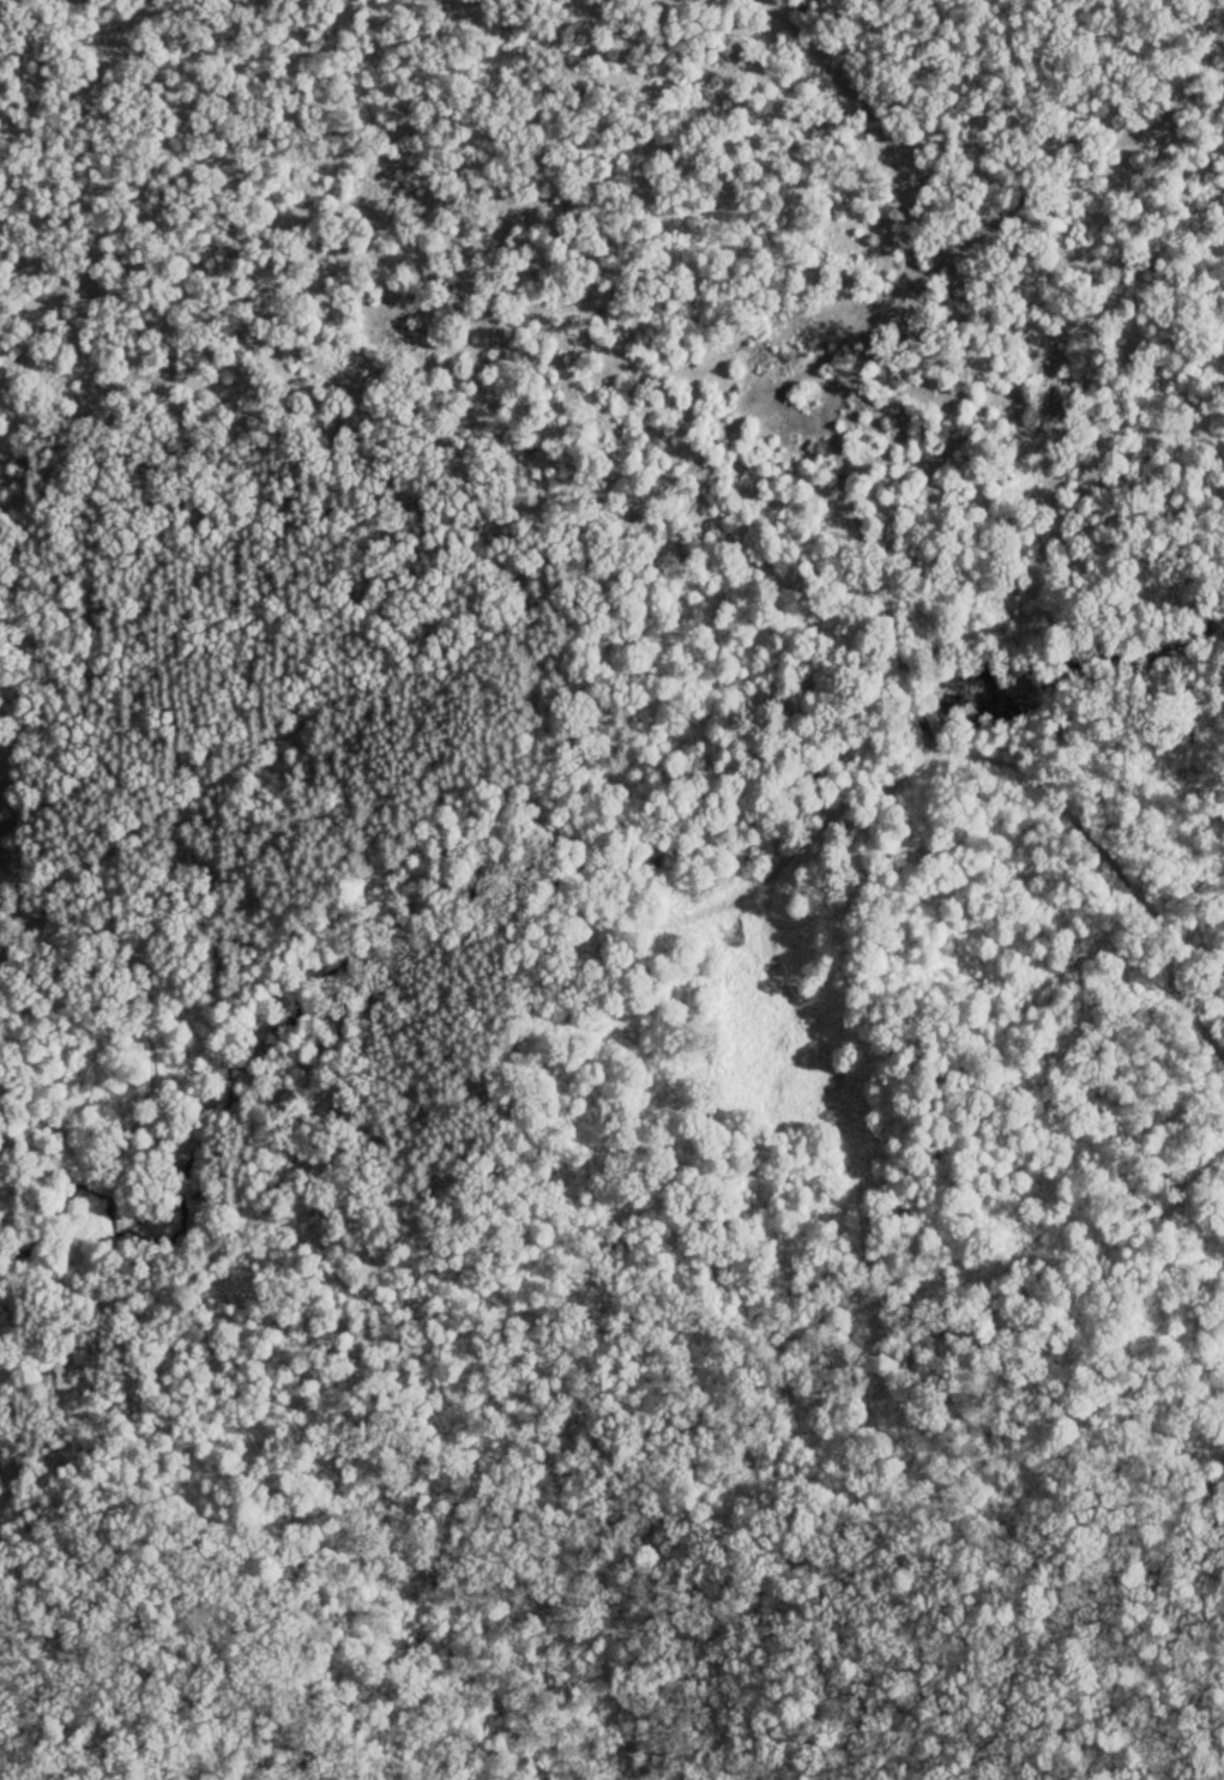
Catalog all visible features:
road: (591, 544)

